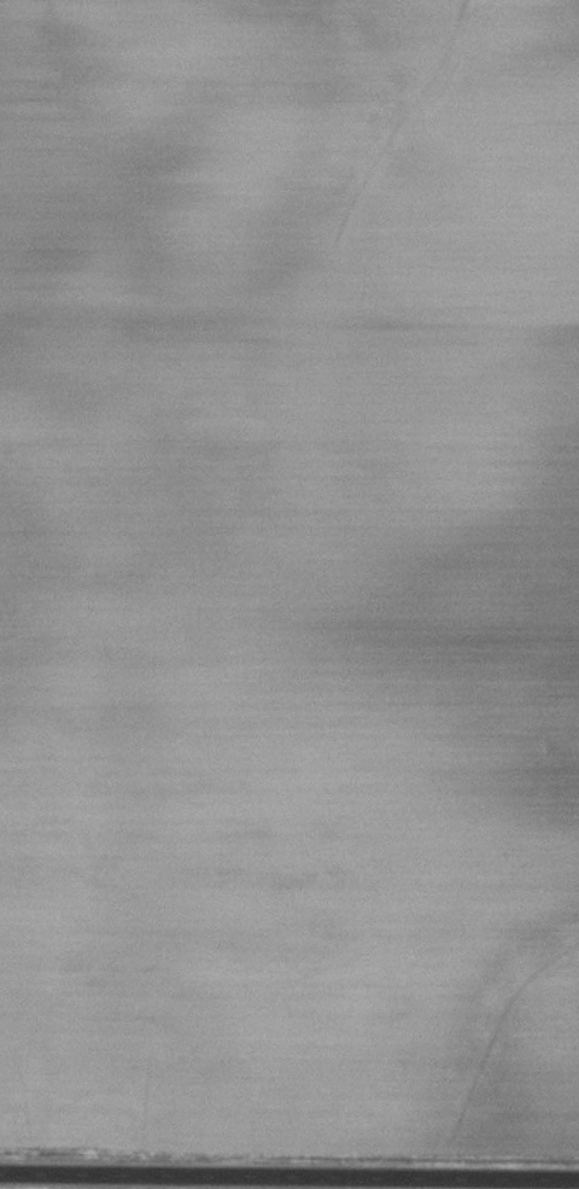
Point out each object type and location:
road: (289, 1176)

